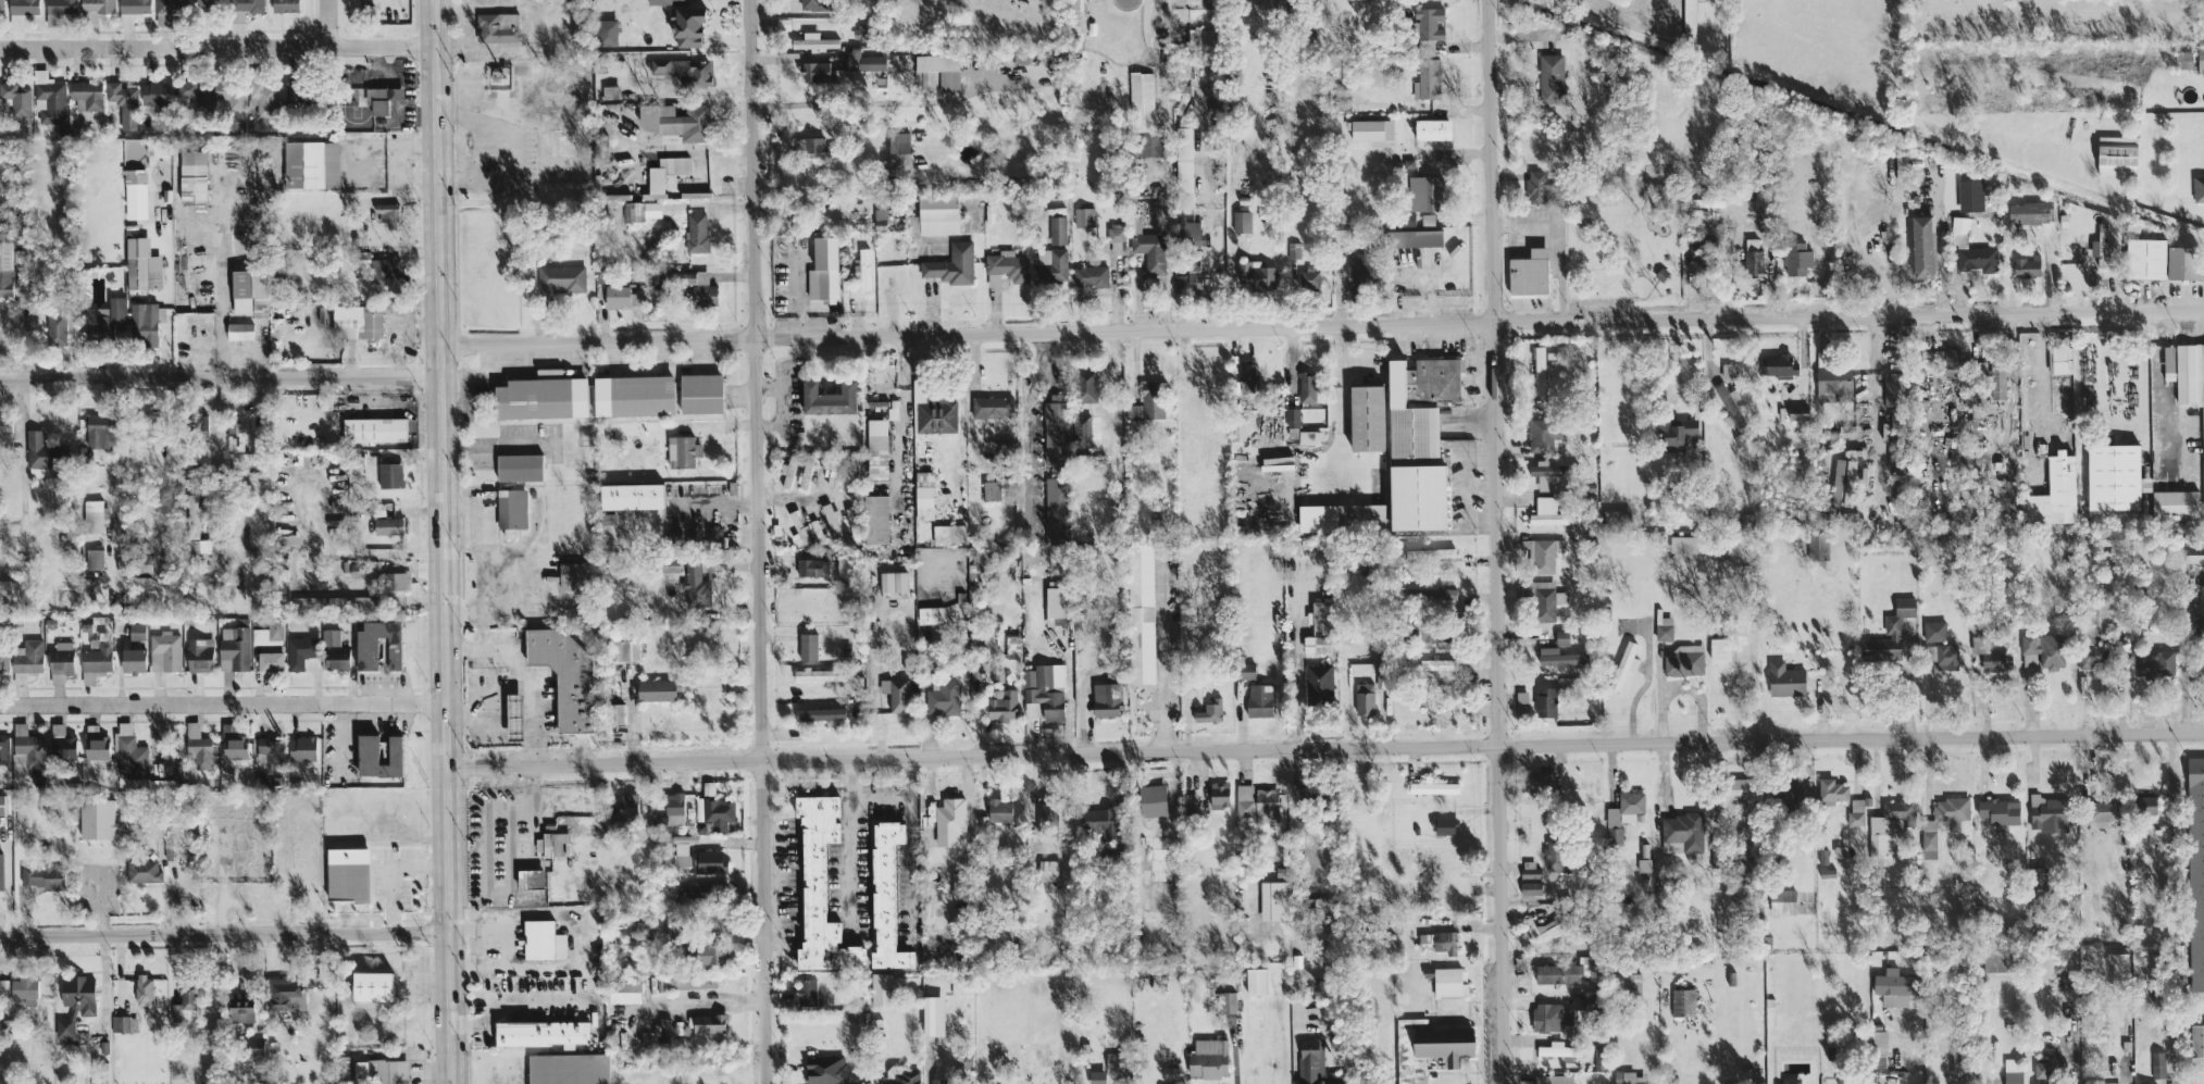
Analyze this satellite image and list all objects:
building: (663, 1)
road: (1663, 1)
building: (209, 3)
building: (0, 4)
building: (245, 4)
building: (811, 4)
building: (98, 5)
building: (135, 5)
building: (284, 5)
building: (59, 9)
building: (21, 10)
building: (169, 10)
building: (236, 15)
building: (1074, 20)
road: (324, 22)
building: (1689, 23)
building: (686, 25)
building: (496, 26)
building: (1427, 27)
building: (606, 32)
building: (859, 32)
building: (1200, 36)
building: (813, 40)
road: (217, 45)
building: (2201, 53)
building: (862, 60)
building: (939, 67)
building: (683, 70)
building: (817, 72)
building: (1551, 77)
building: (926, 78)
building: (1427, 78)
building: (155, 92)
building: (194, 94)
building: (229, 94)
building: (86, 95)
building: (262, 97)
building: (17, 98)
building: (48, 98)
building: (381, 98)
building: (1141, 100)
road: (882, 102)
building: (123, 103)
river: (1866, 117)
building: (674, 121)
building: (1432, 128)
building: (1371, 130)
building: (1147, 144)
building: (811, 146)
building: (158, 148)
building: (897, 154)
building: (2117, 154)
building: (551, 158)
building: (310, 164)
building: (1184, 166)
building: (191, 175)
building: (656, 184)
building: (1536, 186)
building: (2199, 188)
building: (1969, 191)
building: (1425, 192)
building: (134, 194)
road: (1169, 197)
building: (1706, 201)
building: (640, 210)
road: (1212, 211)
building: (2028, 212)
building: (937, 213)
building: (386, 215)
building: (1083, 216)
building: (880, 217)
building: (847, 219)
building: (1406, 219)
building: (1427, 220)
building: (1241, 221)
building: (1134, 224)
building: (695, 232)
building: (1188, 233)
building: (1116, 238)
building: (1414, 238)
building: (2101, 244)
building: (1922, 246)
building: (1149, 250)
building: (1796, 258)
building: (1977, 258)
building: (2147, 258)
building: (1752, 261)
building: (2182, 262)
building: (949, 264)
building: (1050, 264)
building: (5, 266)
building: (2027, 266)
building: (379, 267)
building: (1005, 267)
building: (1359, 267)
building: (862, 269)
building: (823, 270)
building: (139, 271)
building: (1529, 272)
building: (1254, 274)
building: (1089, 275)
building: (1188, 276)
building: (560, 278)
building: (1309, 278)
building: (249, 287)
building: (699, 287)
building: (615, 296)
building: (359, 319)
building: (122, 323)
building: (70, 324)
building: (54, 327)
road: (1321, 328)
road: (219, 329)
building: (239, 331)
building: (2060, 359)
building: (1952, 361)
building: (2169, 362)
building: (1776, 364)
building: (1540, 369)
building: (1729, 370)
road: (2043, 370)
road: (220, 375)
building: (1246, 378)
building: (1997, 379)
building: (2191, 379)
building: (1832, 381)
building: (1306, 384)
building: (1085, 385)
building: (1893, 388)
road: (1112, 390)
building: (699, 393)
building: (633, 395)
building: (540, 398)
building: (827, 398)
building: (1151, 399)
building: (992, 407)
building: (1731, 408)
building: (1797, 411)
building: (936, 415)
building: (1292, 416)
building: (1366, 418)
road: (1033, 423)
building: (195, 424)
road: (1341, 425)
road: (215, 426)
building: (374, 428)
road: (902, 428)
building: (1237, 428)
building: (1055, 429)
building: (99, 431)
building: (1081, 431)
building: (4, 432)
building: (1674, 432)
building: (1545, 434)
building: (1309, 437)
building: (1418, 440)
building: (236, 444)
road: (473, 444)
building: (876, 450)
building: (38, 451)
building: (680, 451)
building: (1895, 461)
building: (519, 466)
building: (788, 473)
building: (805, 473)
building: (389, 474)
building: (1548, 475)
building: (2115, 476)
building: (834, 477)
building: (1844, 477)
building: (991, 490)
building: (2055, 491)
building: (923, 495)
building: (631, 496)
road: (800, 496)
road: (713, 502)
building: (2175, 503)
building: (511, 508)
building: (1056, 508)
building: (1551, 512)
building: (94, 515)
building: (796, 518)
building: (830, 518)
building: (1360, 518)
building: (607, 519)
building: (875, 519)
building: (387, 525)
building: (194, 526)
building: (945, 534)
building: (703, 535)
road: (441, 541)
road: (757, 541)
road: (1495, 541)
building: (1683, 544)
building: (1818, 546)
building: (2194, 550)
building: (1430, 553)
building: (1540, 555)
building: (92, 558)
building: (139, 563)
building: (668, 564)
building: (811, 566)
building: (571, 573)
building: (394, 581)
building: (893, 581)
building: (141, 583)
building: (695, 586)
building: (1432, 594)
building: (1543, 598)
building: (2202, 598)
building: (332, 602)
building: (1055, 606)
building: (1141, 613)
building: (931, 614)
building: (2089, 616)
building: (1320, 618)
building: (1664, 627)
building: (136, 631)
building: (1934, 631)
building: (1428, 632)
building: (1890, 633)
building: (1561, 636)
building: (331, 637)
road: (1743, 639)
building: (1316, 644)
building: (807, 646)
building: (234, 648)
building: (1719, 648)
building: (624, 650)
building: (2043, 650)
building: (165, 651)
building: (299, 652)
building: (365, 653)
road: (1167, 653)
building: (200, 655)
road: (508, 655)
building: (27, 656)
building: (97, 656)
road: (1298, 656)
building: (1942, 656)
building: (1991, 656)
building: (61, 657)
building: (1559, 657)
building: (3, 658)
building: (336, 658)
building: (133, 660)
building: (1683, 660)
building: (270, 661)
building: (2089, 661)
building: (1624, 663)
building: (2158, 663)
building: (1437, 664)
building: (1244, 670)
building: (563, 672)
building: (819, 675)
building: (90, 676)
building: (1784, 680)
building: (1319, 683)
building: (655, 689)
building: (1044, 691)
building: (895, 694)
building: (942, 696)
building: (1521, 696)
building: (1105, 699)
building: (1258, 700)
building: (1364, 700)
building: (1545, 701)
road: (222, 702)
building: (1000, 705)
building: (1209, 711)
road: (513, 712)
building: (615, 713)
building: (819, 713)
building: (512, 717)
building: (60, 743)
building: (94, 744)
building: (234, 748)
building: (301, 748)
road: (1325, 748)
building: (3, 749)
building: (366, 749)
building: (25, 750)
building: (269, 751)
building: (128, 752)
building: (1540, 781)
building: (1432, 786)
building: (1790, 789)
building: (1733, 790)
building: (1831, 792)
building: (1219, 795)
road: (881, 798)
building: (1151, 799)
building: (1256, 802)
building: (2144, 803)
road: (512, 806)
building: (626, 806)
building: (674, 808)
building: (999, 809)
building: (2000, 810)
building: (2102, 810)
building: (1856, 811)
building: (719, 812)
building: (1047, 812)
building: (1623, 813)
building: (2050, 813)
building: (950, 814)
building: (96, 818)
building: (1942, 818)
building: (1099, 822)
building: (1443, 825)
building: (1888, 826)
building: (1683, 830)
building: (547, 844)
building: (1672, 846)
road: (850, 848)
road: (912, 851)
building: (681, 854)
building: (1554, 856)
building: (710, 861)
building: (1529, 868)
building: (0, 869)
building: (1047, 869)
building: (141, 870)
building: (2196, 870)
building: (1157, 871)
building: (347, 872)
building: (42, 874)
building: (528, 876)
building: (820, 886)
building: (1530, 887)
road: (175, 888)
building: (885, 896)
building: (1272, 899)
building: (1781, 900)
building: (1549, 929)
road: (224, 934)
building: (541, 939)
building: (1441, 939)
building: (703, 952)
building: (1995, 961)
building: (2117, 961)
building: (1558, 972)
building: (1256, 980)
building: (690, 981)
building: (1448, 981)
building: (1633, 982)
building: (370, 984)
building: (3, 985)
building: (1895, 987)
building: (23, 988)
building: (881, 988)
road: (105, 989)
building: (623, 989)
building: (142, 990)
building: (806, 990)
building: (283, 993)
building: (77, 994)
road: (713, 998)
building: (183, 999)
building: (1228, 1000)
building: (1683, 1000)
building: (239, 1007)
building: (932, 1014)
building: (1547, 1016)
building: (120, 1022)
building: (707, 1022)
building: (662, 1025)
building: (63, 1026)
building: (540, 1032)
building: (2197, 1038)
building: (252, 1046)
building: (1428, 1048)
building: (1878, 1048)
building: (1557, 1049)
road: (1913, 1049)
building: (1208, 1058)
building: (1313, 1062)
building: (2158, 1063)
building: (1958, 1066)
road: (428, 1068)
building: (568, 1068)
building: (1112, 1069)
building: (2044, 1069)
building: (824, 1070)
building: (381, 1071)
building: (2013, 1071)
road: (1236, 1073)
building: (901, 1076)
building: (1628, 1077)
road: (877, 1080)
building: (941, 1080)
building: (1790, 1080)
building: (2147, 1083)

